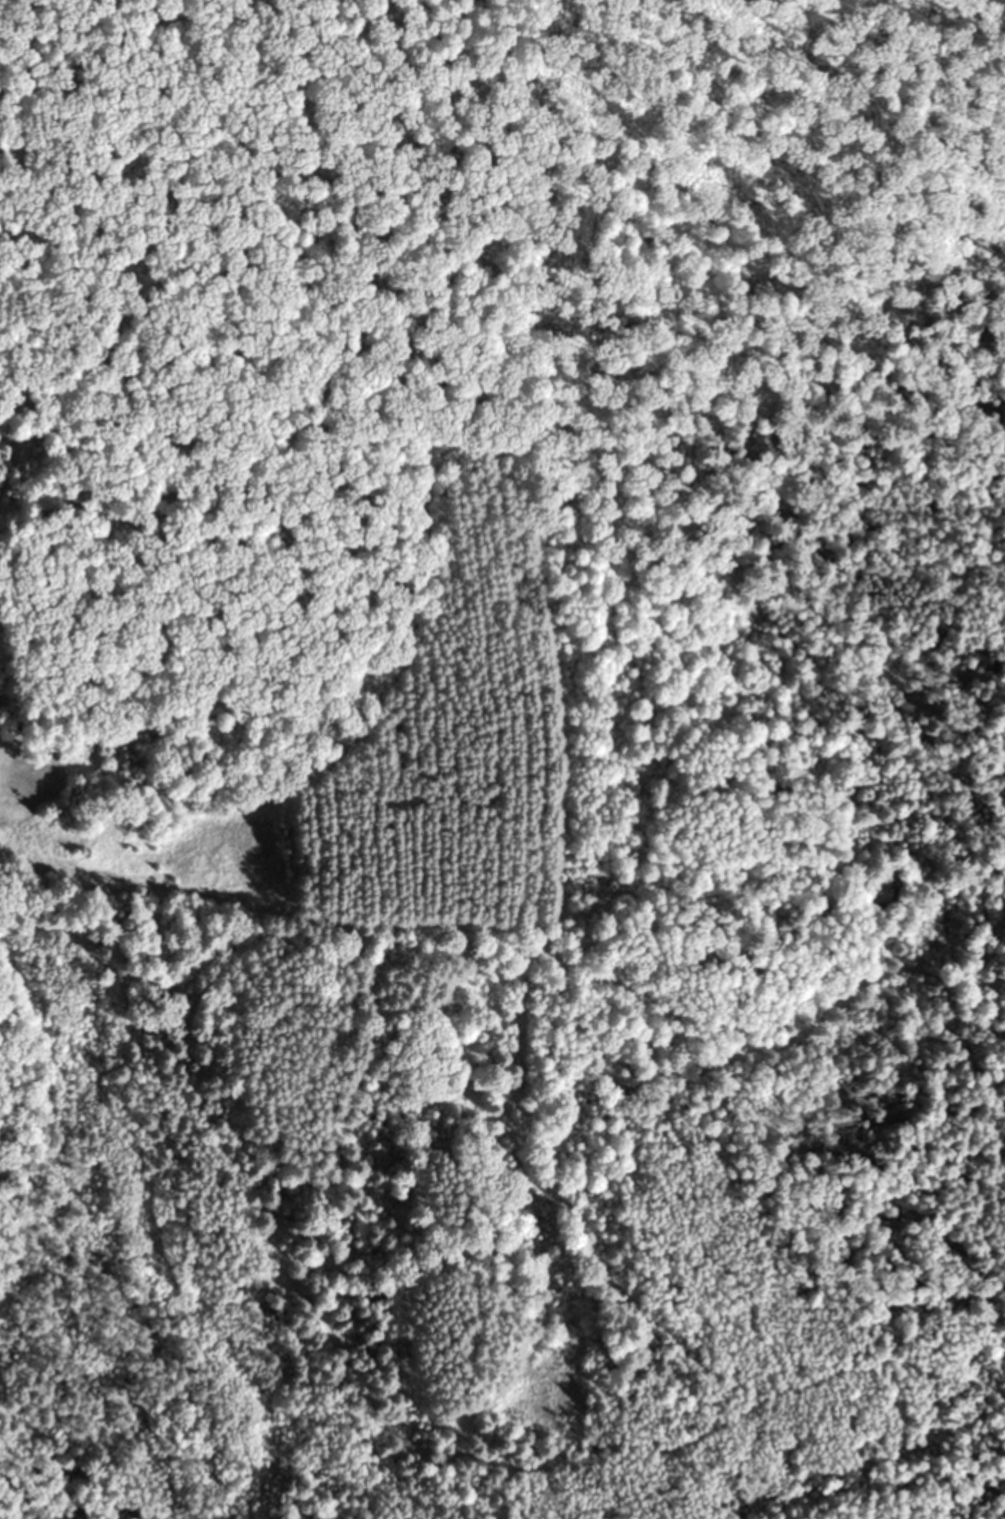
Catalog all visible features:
building: (19, 728)

